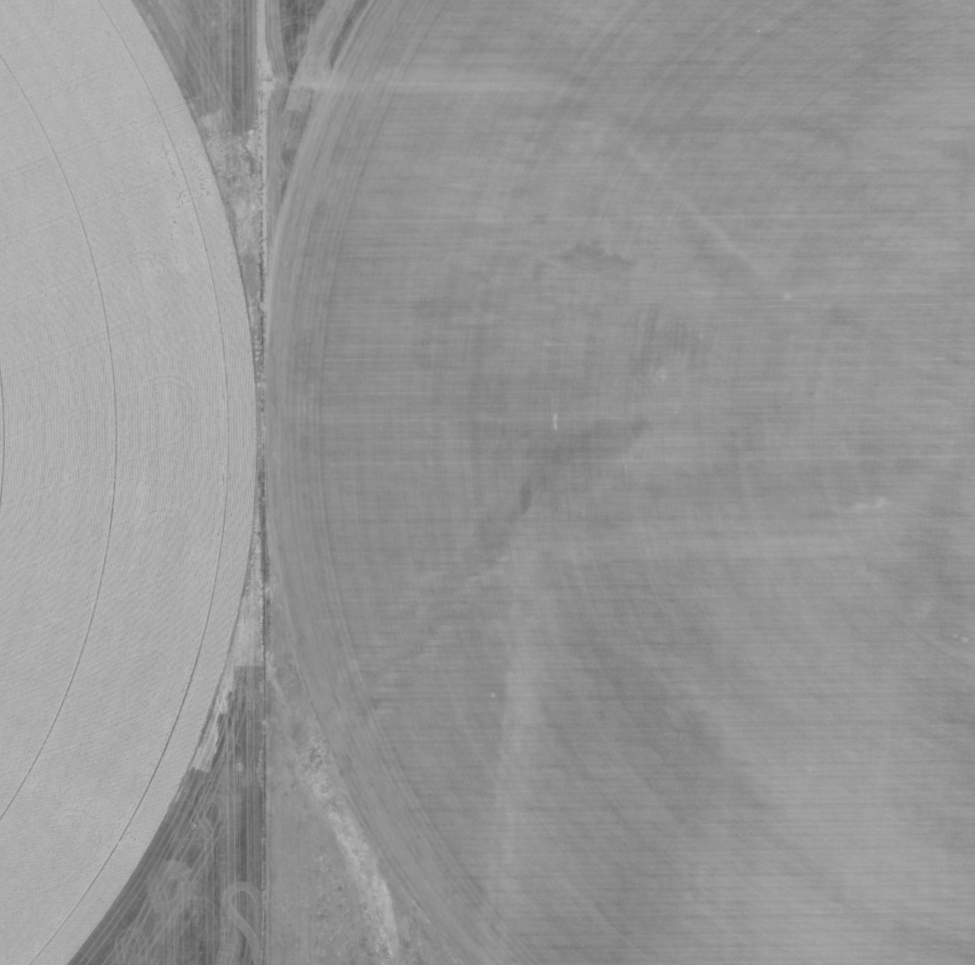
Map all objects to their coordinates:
road: (910, 269)
crop: (676, 475)

